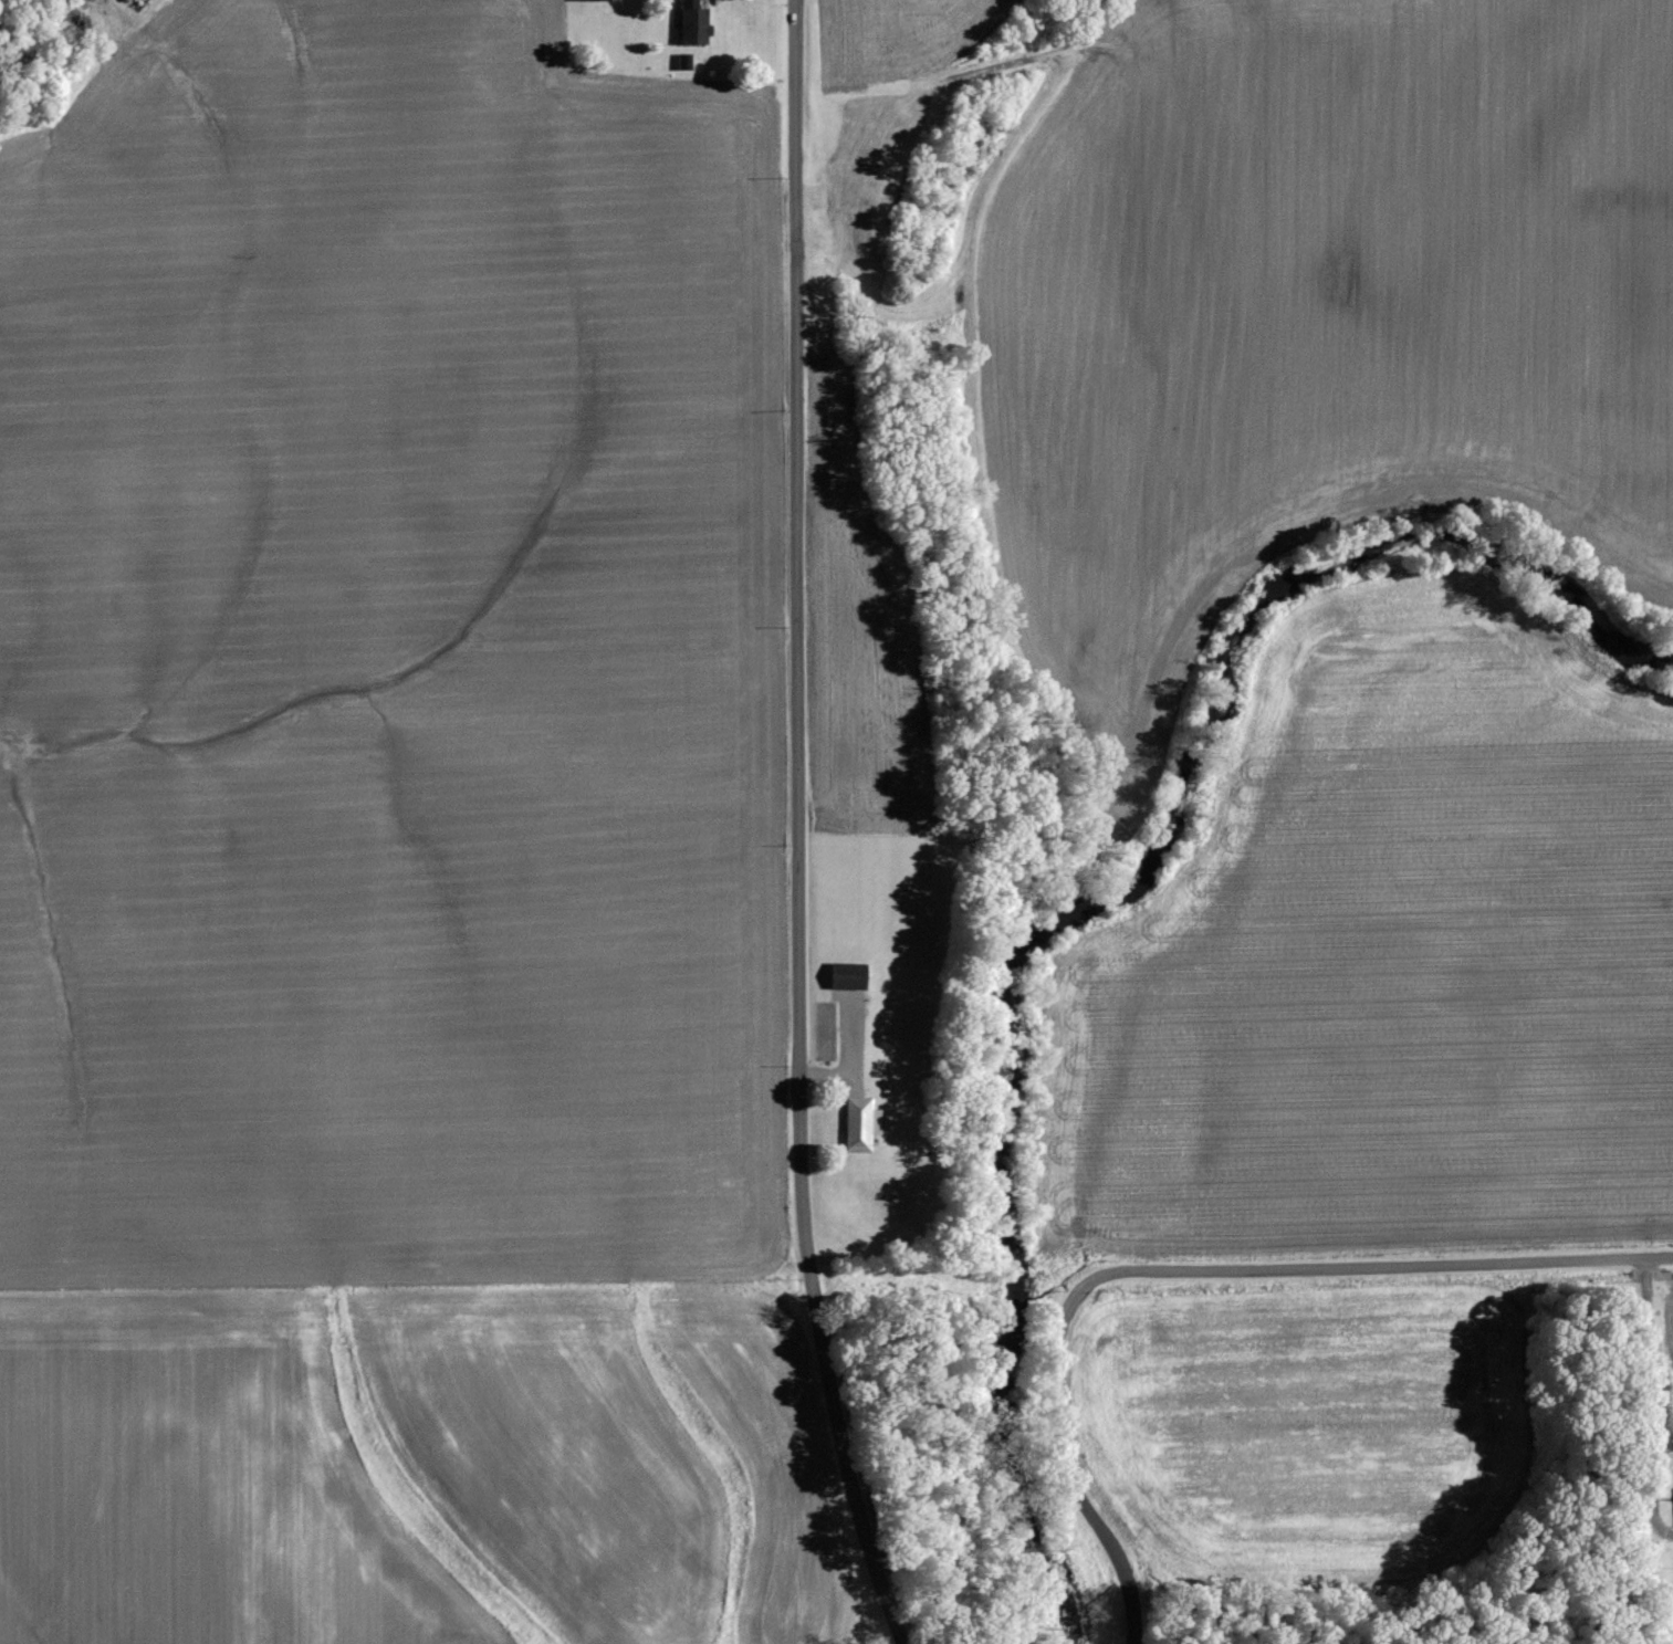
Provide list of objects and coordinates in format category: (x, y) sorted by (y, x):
building: (589, 0)
building: (689, 23)
road: (796, 828)
crop: (1387, 963)
building: (845, 976)
building: (857, 1124)
road: (1180, 1269)
road: (1649, 1401)
crop: (1311, 1430)

